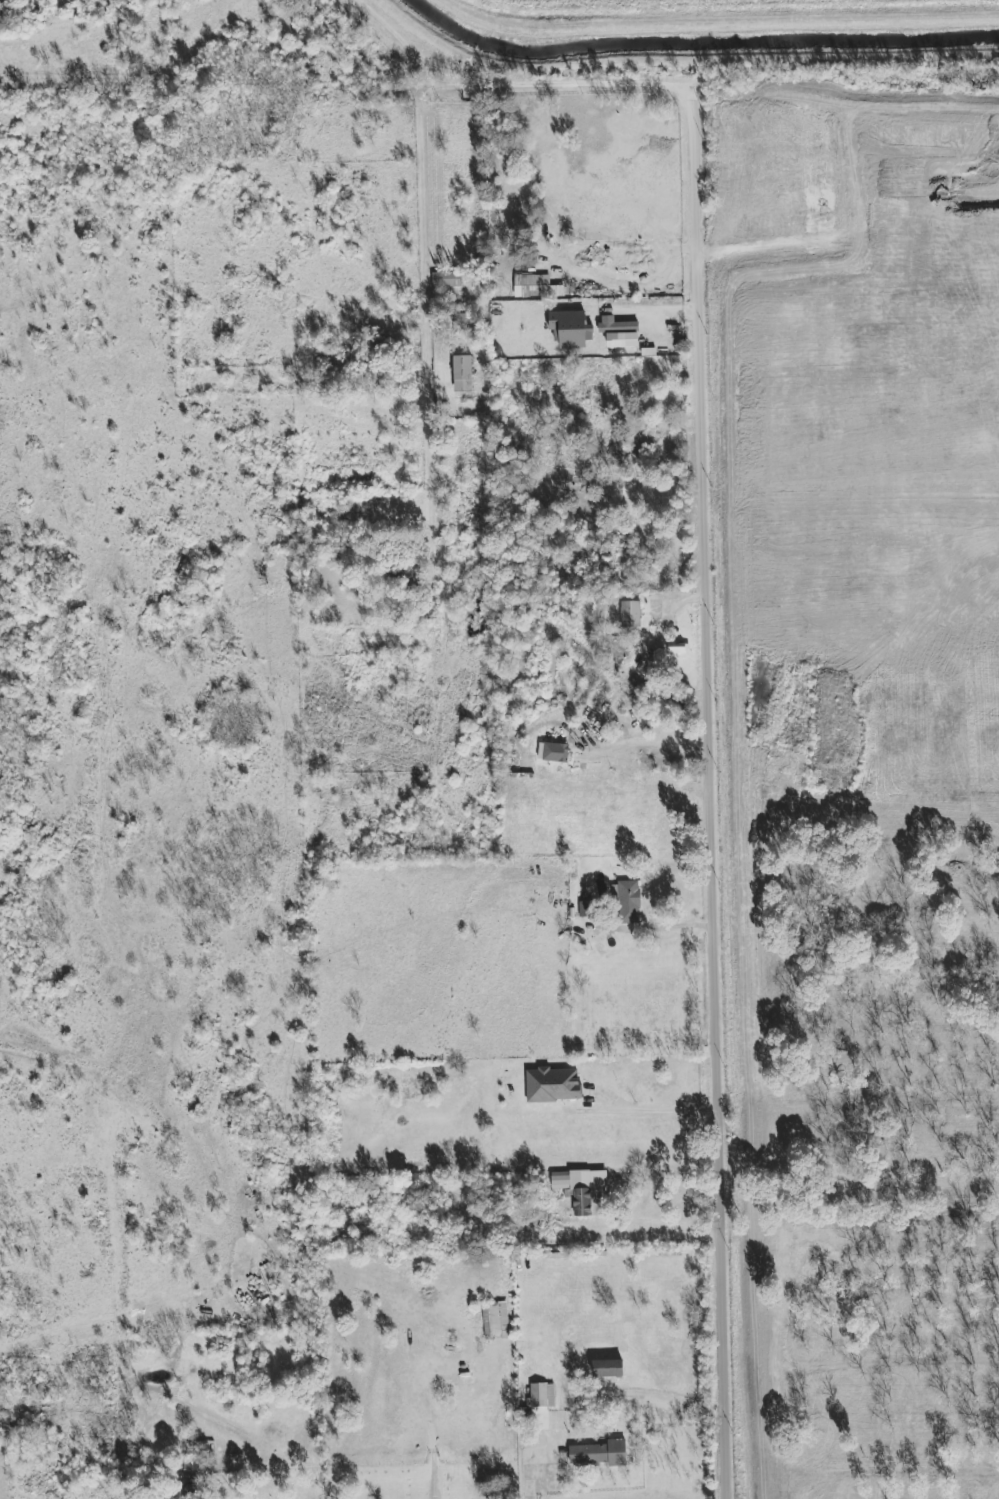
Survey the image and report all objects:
building: (446, 279)
building: (534, 286)
road: (652, 311)
building: (459, 320)
building: (570, 329)
building: (619, 332)
road: (431, 340)
building: (462, 373)
building: (630, 614)
road: (655, 739)
building: (553, 752)
road: (714, 797)
building: (629, 902)
building: (587, 909)
road: (656, 927)
building: (553, 1084)
road: (647, 1110)
building: (584, 1190)
building: (608, 1368)
road: (653, 1394)
building: (541, 1395)
building: (600, 1453)
building: (192, 1466)
road: (530, 1486)
building: (189, 1491)

